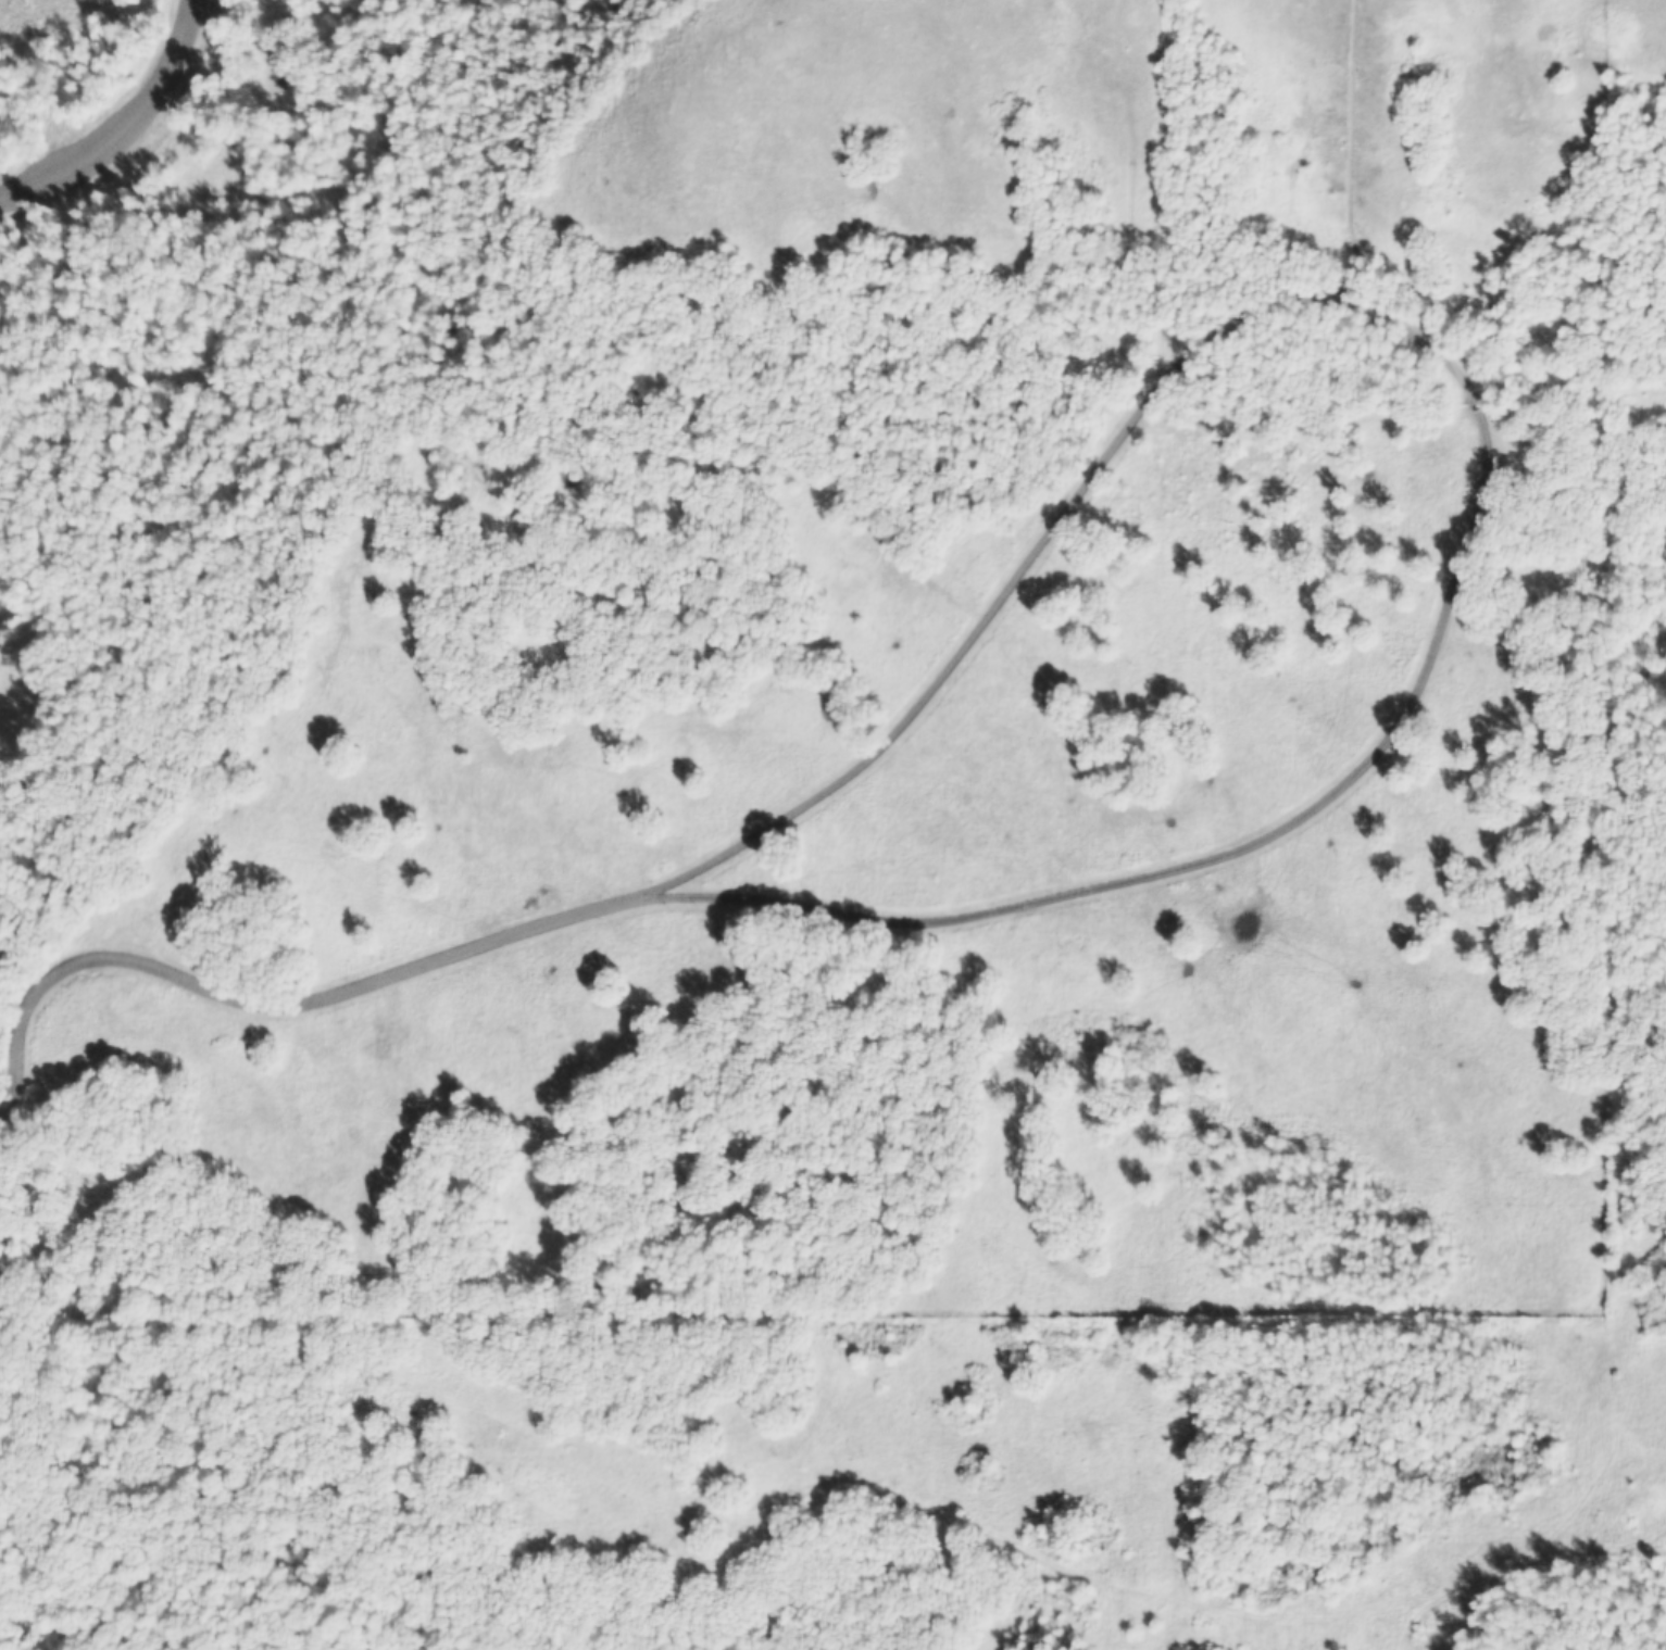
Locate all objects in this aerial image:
road: (139, 139)
road: (1350, 156)
road: (1477, 416)
road: (279, 1005)

